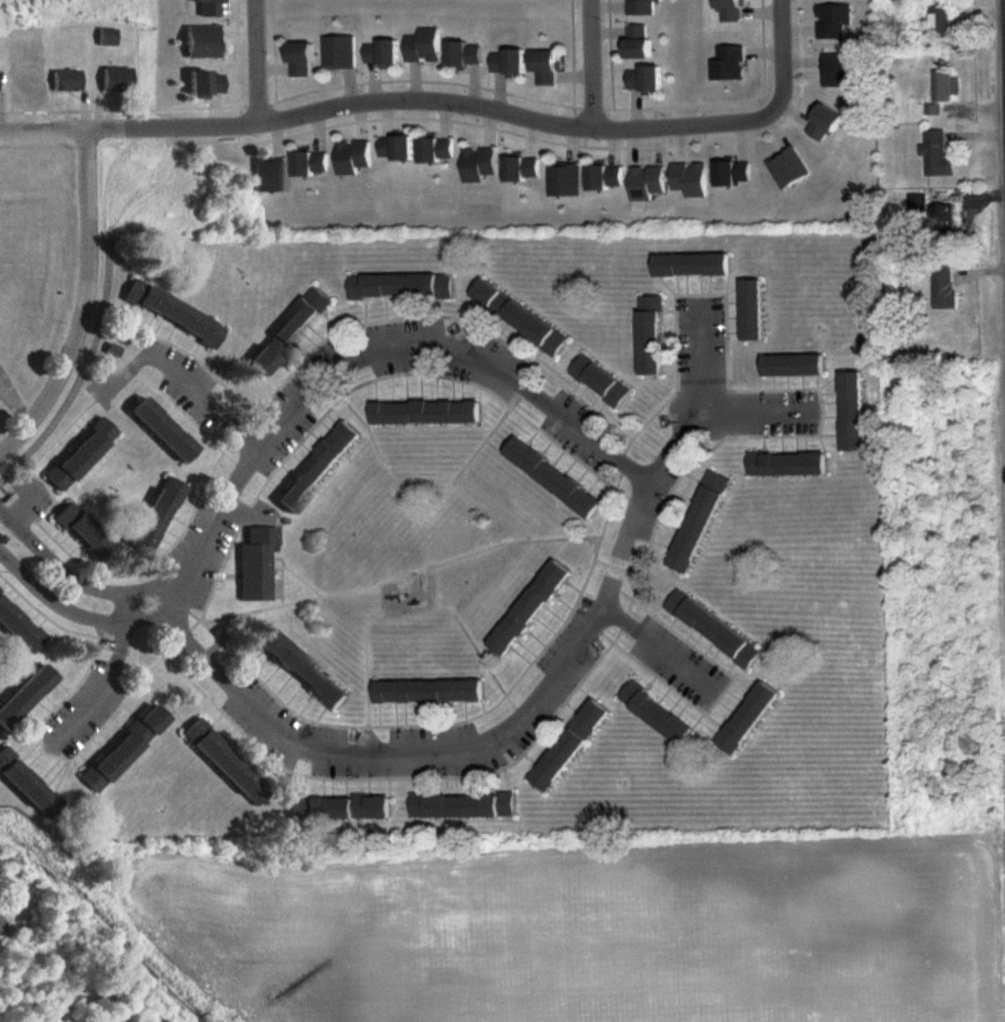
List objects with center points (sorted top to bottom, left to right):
building: (204, 7)
building: (642, 7)
building: (941, 22)
building: (103, 37)
building: (635, 41)
building: (198, 42)
building: (421, 45)
building: (337, 52)
building: (379, 52)
building: (462, 53)
building: (297, 59)
building: (505, 61)
road: (1003, 61)
building: (543, 67)
road: (252, 68)
road: (586, 73)
building: (642, 78)
building: (23, 81)
building: (64, 81)
building: (113, 81)
building: (202, 83)
building: (943, 90)
road: (775, 100)
road: (392, 115)
road: (44, 131)
building: (393, 147)
building: (434, 149)
building: (936, 154)
building: (351, 156)
building: (308, 163)
building: (477, 164)
building: (519, 168)
building: (267, 174)
building: (602, 176)
building: (563, 179)
building: (942, 219)
building: (690, 264)
building: (400, 285)
building: (943, 287)
road: (84, 304)
building: (750, 309)
building: (170, 313)
building: (518, 317)
building: (286, 330)
building: (648, 335)
road: (366, 353)
building: (791, 364)
building: (599, 380)
road: (203, 396)
road: (703, 400)
road: (763, 410)
building: (850, 410)
building: (423, 412)
building: (157, 429)
building: (77, 454)
building: (785, 463)
building: (314, 467)
building: (551, 477)
road: (635, 514)
building: (151, 515)
building: (697, 521)
building: (79, 530)
building: (253, 564)
building: (527, 608)
building: (712, 629)
building: (17, 631)
road: (661, 650)
building: (297, 671)
road: (105, 676)
building: (426, 692)
building: (21, 694)
building: (654, 714)
building: (745, 718)
road: (301, 745)
building: (567, 745)
building: (118, 748)
building: (221, 763)
building: (22, 786)
building: (461, 806)
building: (337, 808)
building: (103, 1015)

